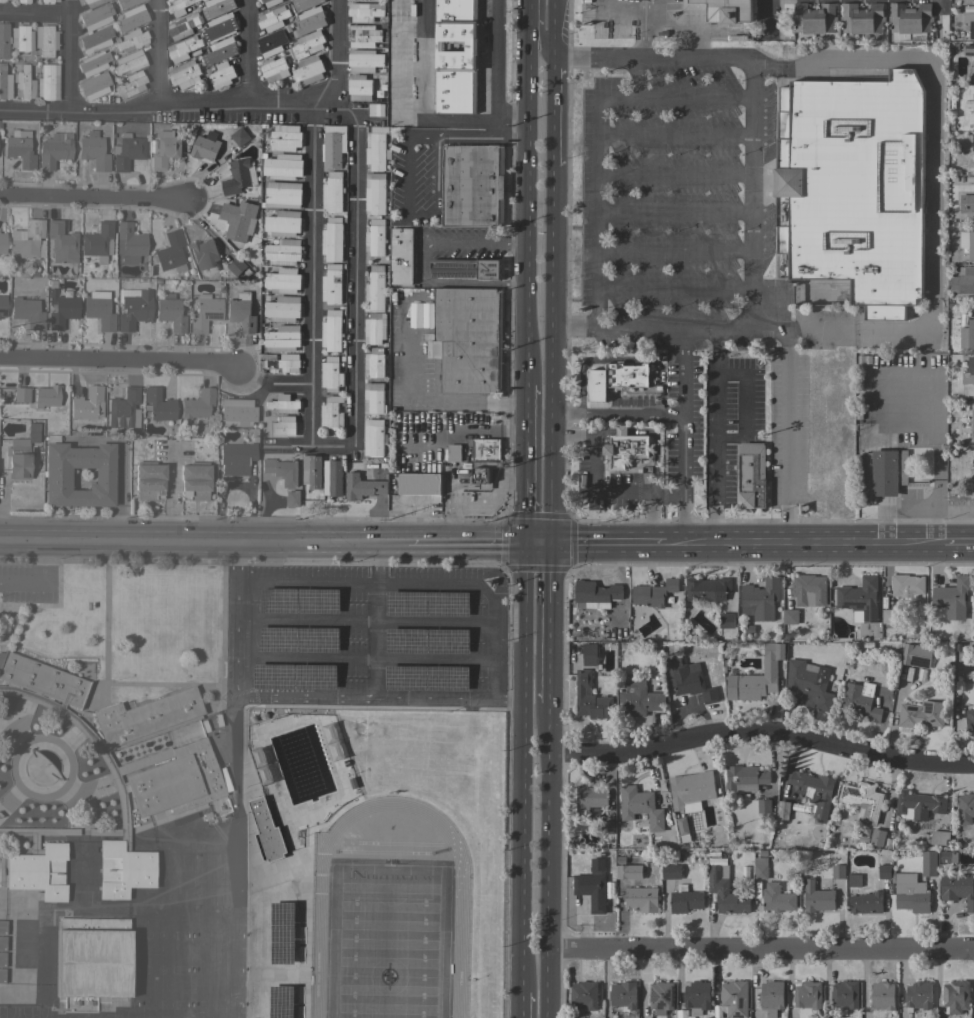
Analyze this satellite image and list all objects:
building: (1, 0)
building: (23, 1)
building: (48, 1)
building: (92, 2)
building: (269, 2)
building: (126, 3)
building: (304, 4)
road: (939, 4)
road: (642, 6)
building: (179, 7)
building: (216, 8)
building: (723, 10)
road: (528, 11)
building: (364, 12)
road: (616, 13)
road: (656, 13)
road: (34, 14)
building: (95, 16)
building: (130, 17)
building: (814, 18)
building: (862, 18)
building: (273, 19)
road: (766, 19)
building: (310, 20)
building: (910, 20)
building: (969, 23)
building: (184, 26)
road: (553, 26)
road: (671, 26)
building: (220, 27)
road: (641, 33)
building: (363, 36)
building: (21, 37)
building: (45, 39)
building: (95, 39)
building: (131, 39)
building: (3, 40)
road: (690, 41)
road: (535, 42)
building: (272, 43)
building: (308, 44)
building: (183, 48)
building: (221, 51)
road: (249, 53)
road: (67, 54)
road: (159, 54)
road: (334, 54)
road: (650, 54)
building: (455, 57)
building: (128, 61)
building: (364, 61)
building: (93, 62)
building: (972, 63)
building: (274, 70)
building: (308, 71)
building: (185, 74)
building: (221, 75)
road: (634, 75)
building: (23, 82)
building: (47, 82)
building: (5, 83)
building: (131, 84)
building: (93, 85)
building: (359, 88)
road: (172, 107)
road: (552, 109)
building: (376, 110)
road: (460, 119)
road: (674, 133)
road: (596, 135)
building: (240, 137)
building: (285, 138)
road: (436, 139)
building: (972, 142)
building: (205, 146)
building: (332, 147)
building: (19, 148)
building: (54, 149)
building: (165, 149)
building: (377, 149)
building: (93, 150)
building: (126, 150)
building: (283, 166)
road: (674, 171)
building: (238, 177)
road: (928, 183)
building: (473, 186)
building: (854, 187)
road: (751, 191)
building: (332, 192)
building: (375, 194)
building: (283, 195)
road: (94, 200)
road: (526, 202)
building: (967, 206)
road: (673, 212)
building: (238, 220)
building: (283, 223)
building: (375, 237)
building: (332, 240)
building: (2, 241)
building: (26, 241)
building: (97, 241)
building: (61, 242)
building: (129, 242)
building: (967, 243)
building: (170, 252)
building: (283, 252)
road: (673, 252)
building: (204, 254)
building: (402, 256)
road: (422, 260)
building: (236, 266)
building: (467, 268)
road: (311, 276)
building: (283, 281)
building: (963, 281)
building: (332, 284)
building: (375, 289)
road: (673, 289)
building: (2, 305)
building: (133, 307)
building: (60, 309)
building: (99, 309)
building: (283, 309)
building: (27, 312)
building: (205, 312)
building: (241, 312)
building: (170, 313)
road: (353, 318)
building: (375, 328)
road: (771, 329)
building: (332, 330)
building: (967, 335)
building: (283, 338)
building: (468, 339)
road: (550, 355)
road: (120, 362)
building: (285, 363)
building: (374, 363)
building: (969, 372)
building: (331, 374)
road: (682, 378)
building: (616, 379)
road: (745, 389)
building: (20, 393)
building: (46, 395)
road: (422, 397)
building: (373, 398)
building: (88, 403)
building: (196, 404)
building: (283, 404)
building: (158, 405)
building: (122, 408)
building: (236, 411)
building: (331, 412)
road: (653, 412)
building: (972, 422)
building: (282, 426)
building: (31, 432)
road: (717, 436)
building: (374, 438)
building: (625, 447)
building: (486, 449)
building: (973, 451)
building: (453, 452)
building: (235, 458)
building: (18, 461)
road: (120, 462)
road: (524, 464)
building: (281, 470)
building: (311, 471)
road: (596, 473)
building: (883, 473)
building: (483, 474)
building: (57, 475)
building: (751, 475)
building: (147, 477)
building: (193, 478)
building: (332, 478)
building: (420, 485)
building: (362, 487)
road: (170, 491)
building: (293, 498)
road: (651, 506)
road: (684, 519)
road: (22, 540)
road: (958, 542)
road: (226, 543)
road: (830, 543)
road: (674, 544)
road: (701, 544)
road: (466, 545)
road: (600, 545)
road: (657, 545)
traffic signals: (524, 546)
road: (536, 546)
traffic signals: (549, 546)
road: (377, 563)
road: (41, 581)
road: (415, 581)
building: (907, 587)
building: (707, 589)
building: (809, 590)
building: (653, 593)
building: (597, 595)
building: (860, 598)
building: (952, 598)
building: (760, 599)
building: (889, 616)
building: (790, 617)
road: (363, 619)
building: (726, 620)
road: (548, 625)
road: (376, 640)
building: (589, 655)
building: (916, 655)
road: (363, 659)
building: (757, 677)
building: (689, 680)
building: (809, 681)
building: (259, 684)
road: (305, 697)
building: (590, 698)
building: (638, 699)
building: (860, 701)
building: (921, 714)
building: (969, 720)
road: (760, 730)
building: (332, 740)
building: (260, 765)
road: (523, 769)
building: (171, 775)
building: (745, 778)
road: (233, 786)
building: (691, 788)
building: (814, 791)
building: (590, 799)
building: (862, 801)
building: (919, 804)
building: (763, 806)
building: (640, 807)
building: (965, 808)
building: (781, 810)
building: (607, 827)
building: (264, 829)
building: (877, 838)
building: (938, 838)
building: (945, 858)
road: (547, 861)
building: (38, 863)
building: (928, 863)
building: (760, 866)
building: (622, 871)
building: (670, 872)
building: (838, 872)
building: (884, 872)
building: (854, 880)
building: (592, 886)
building: (957, 889)
building: (725, 891)
building: (910, 893)
building: (777, 898)
building: (817, 898)
building: (641, 899)
building: (685, 900)
building: (866, 903)
building: (2, 926)
building: (25, 942)
building: (2, 943)
road: (761, 948)
building: (282, 950)
building: (92, 956)
building: (2, 959)
building: (2, 975)
building: (844, 994)
building: (585, 995)
building: (622, 995)
building: (808, 995)
building: (883, 996)
building: (918, 996)
building: (955, 996)
building: (660, 997)
building: (696, 997)
building: (771, 997)
building: (734, 998)
road: (518, 1005)
building: (577, 1017)

